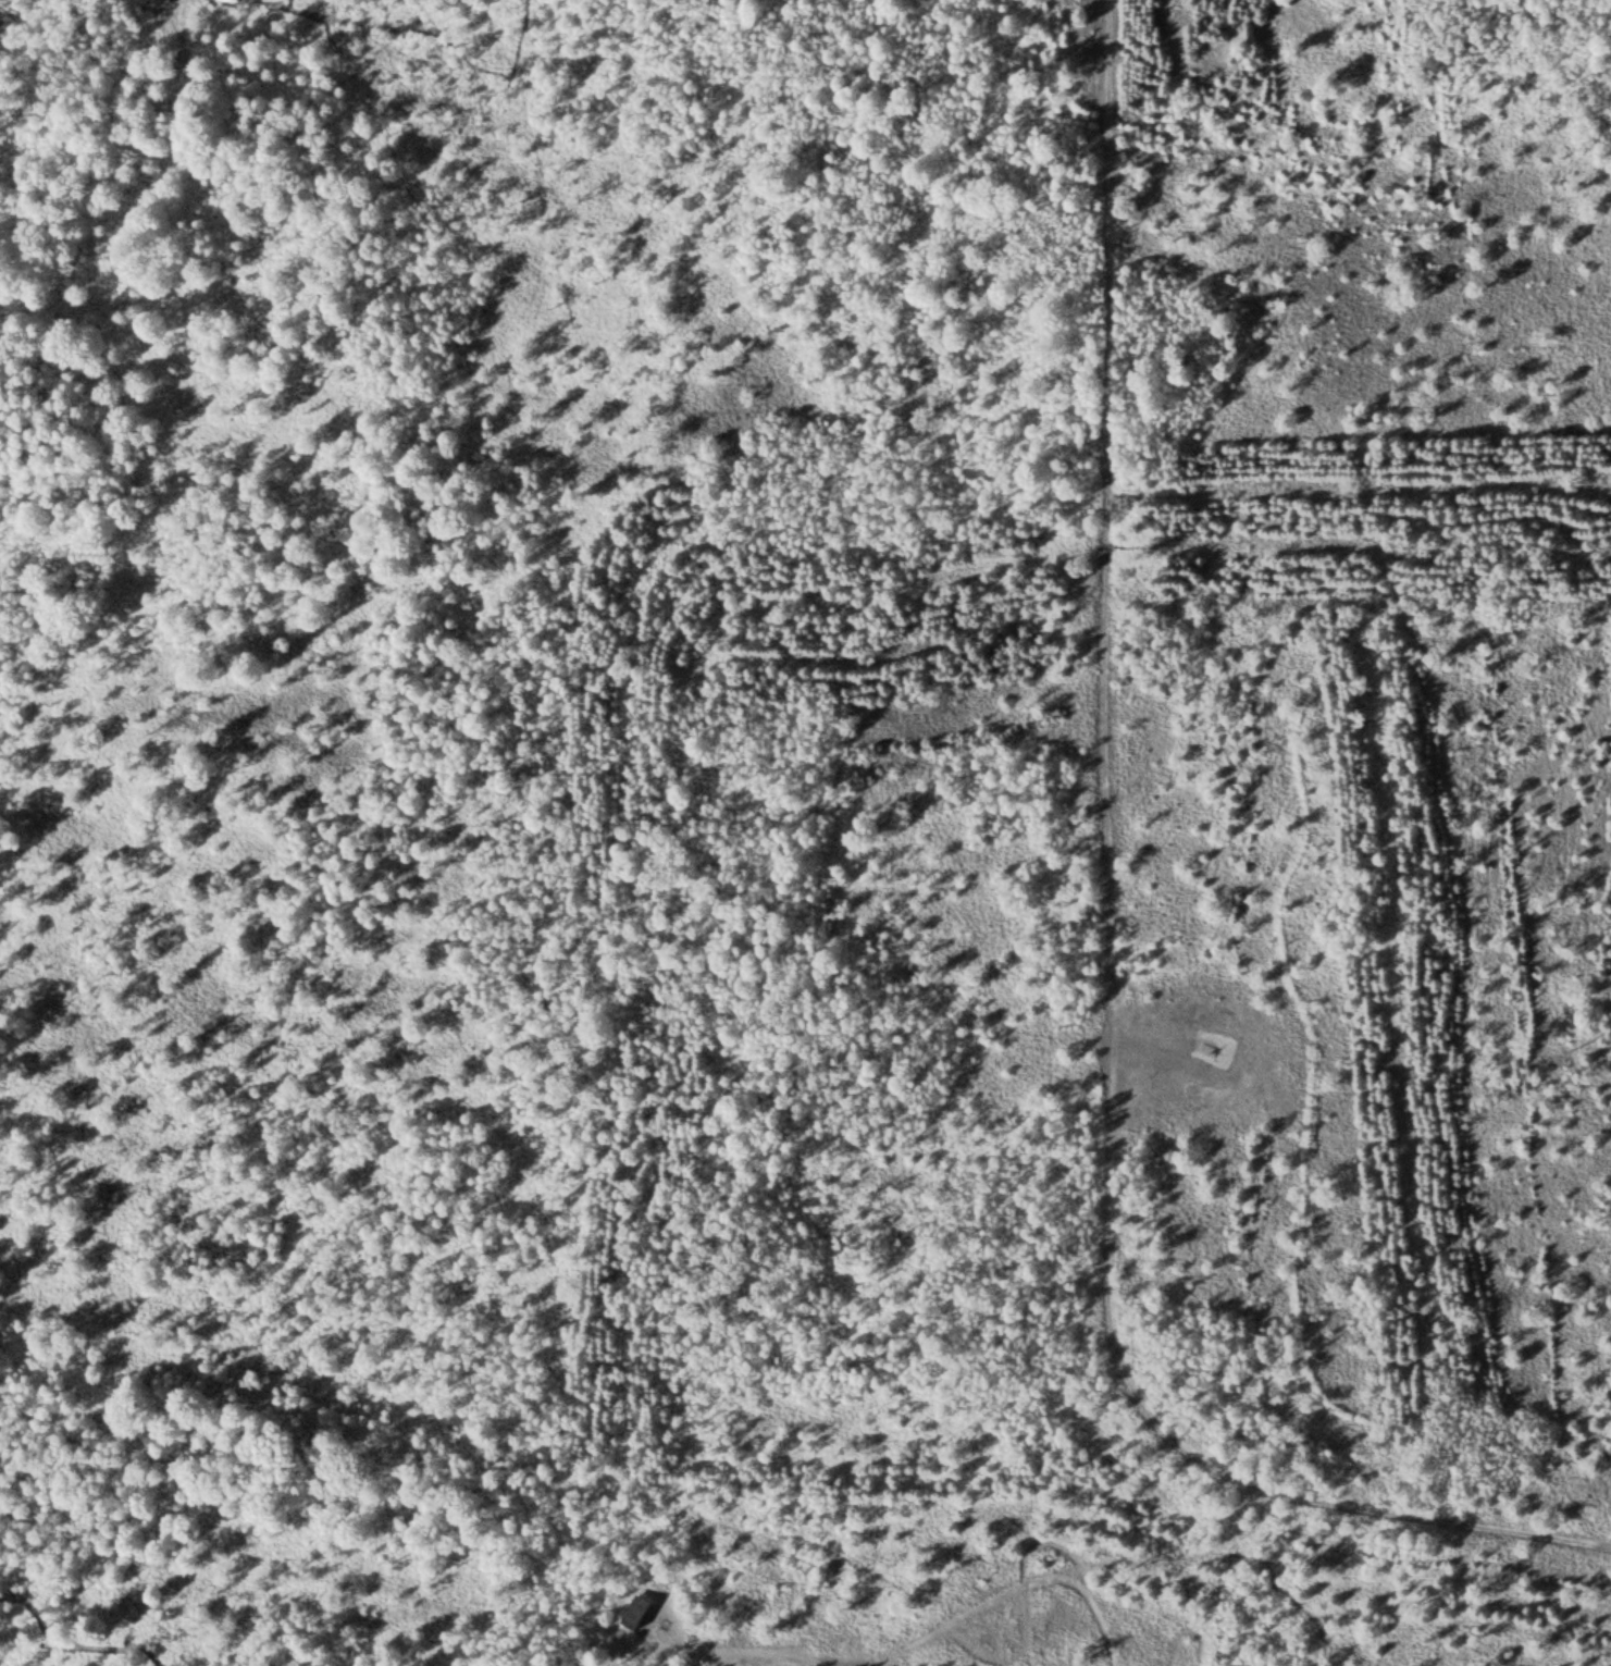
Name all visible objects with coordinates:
road: (1106, 958)
petroleum well: (1214, 1047)
building: (642, 1611)
road: (711, 1646)
road: (769, 1654)
road: (805, 1655)

